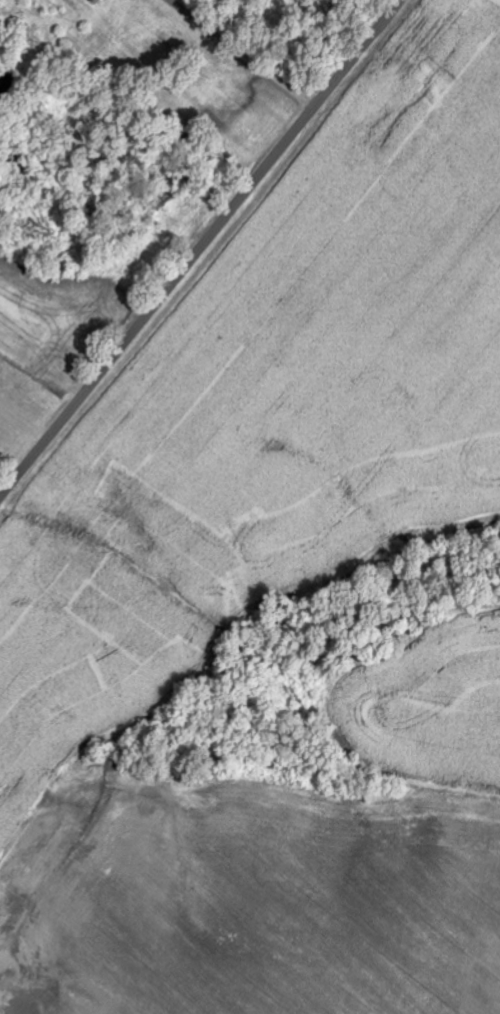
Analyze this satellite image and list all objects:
road: (244, 53)
road: (200, 247)

